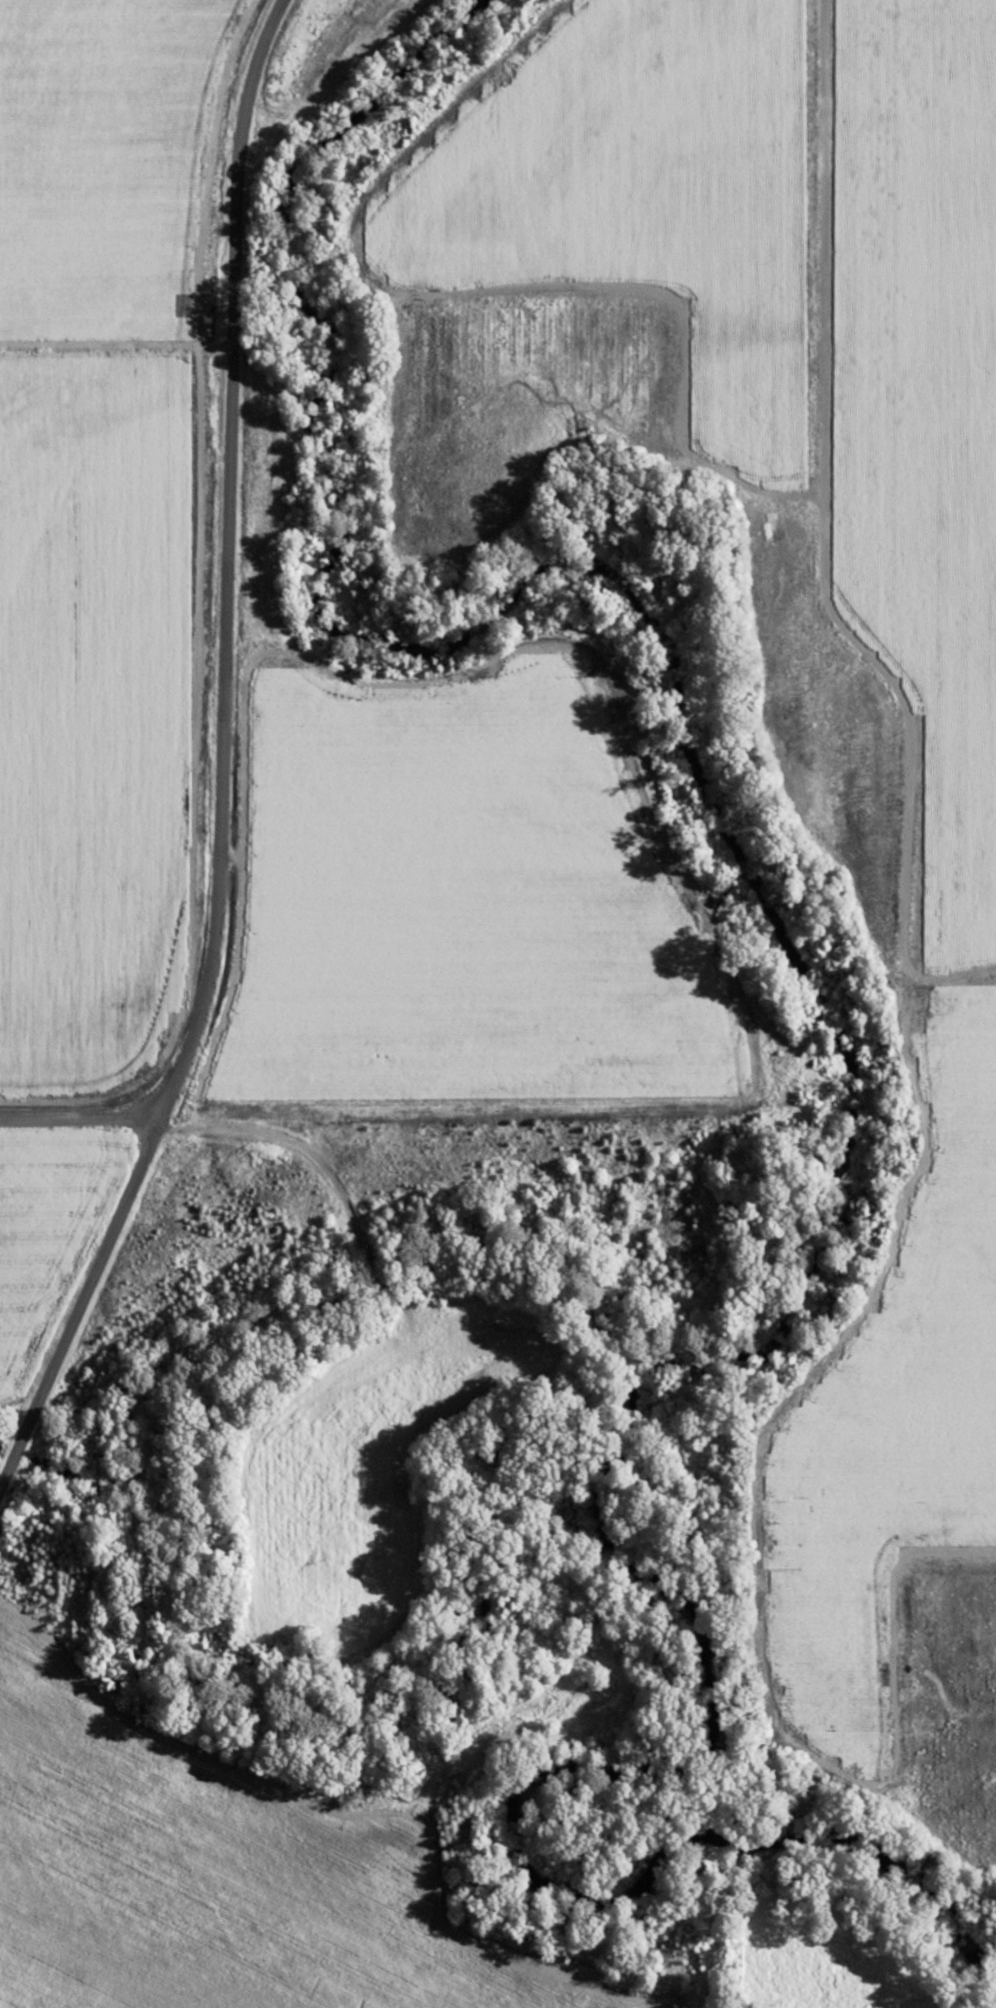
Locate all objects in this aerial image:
road: (827, 1)
road: (927, 3)
road: (822, 535)
road: (221, 761)
road: (79, 1121)

